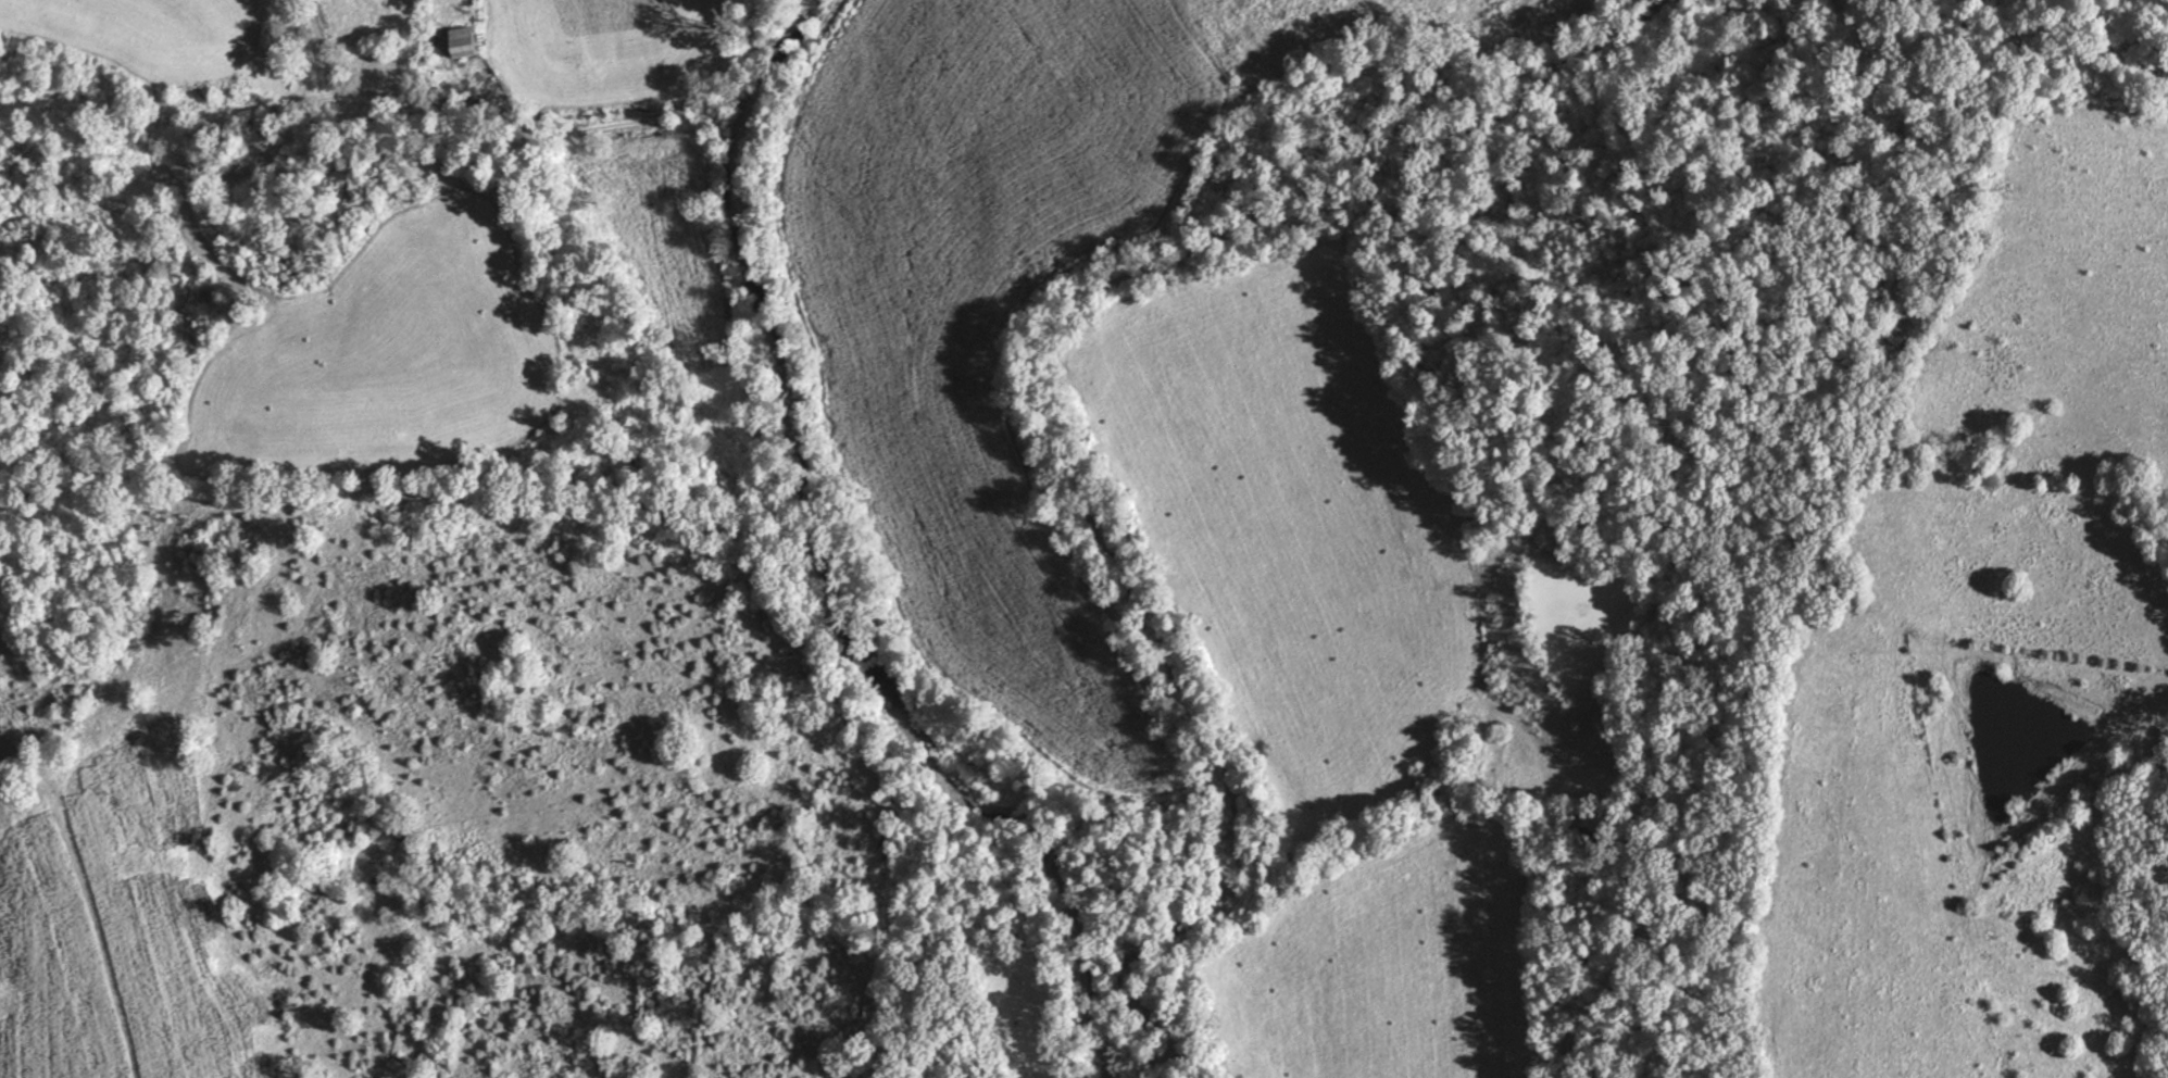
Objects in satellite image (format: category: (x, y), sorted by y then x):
building: (464, 42)
road: (547, 111)

